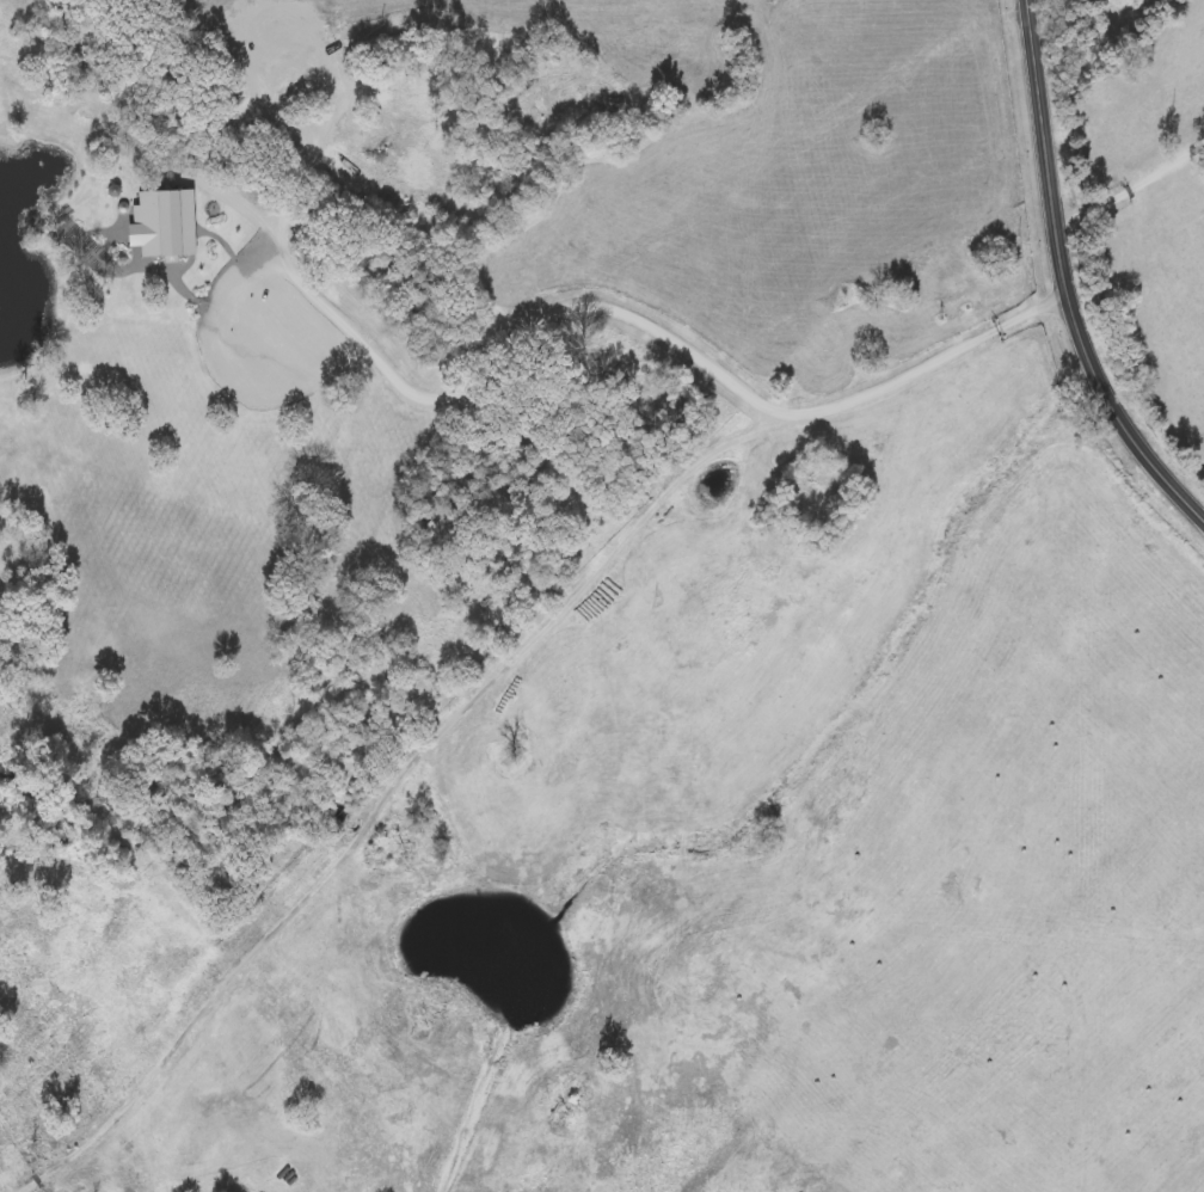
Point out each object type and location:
building: (700, 78)
building: (534, 111)
road: (1135, 184)
road: (1071, 275)
road: (930, 370)
road: (596, 571)

